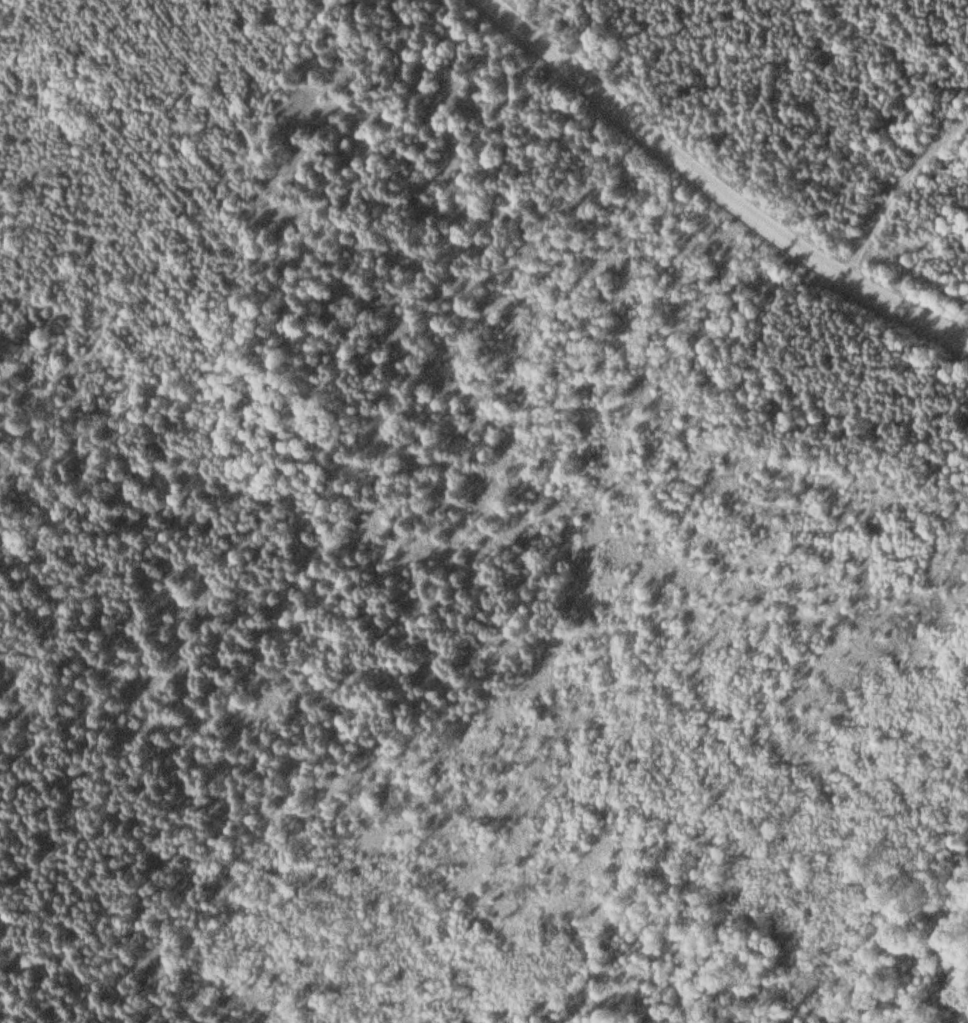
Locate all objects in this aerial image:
road: (708, 185)

